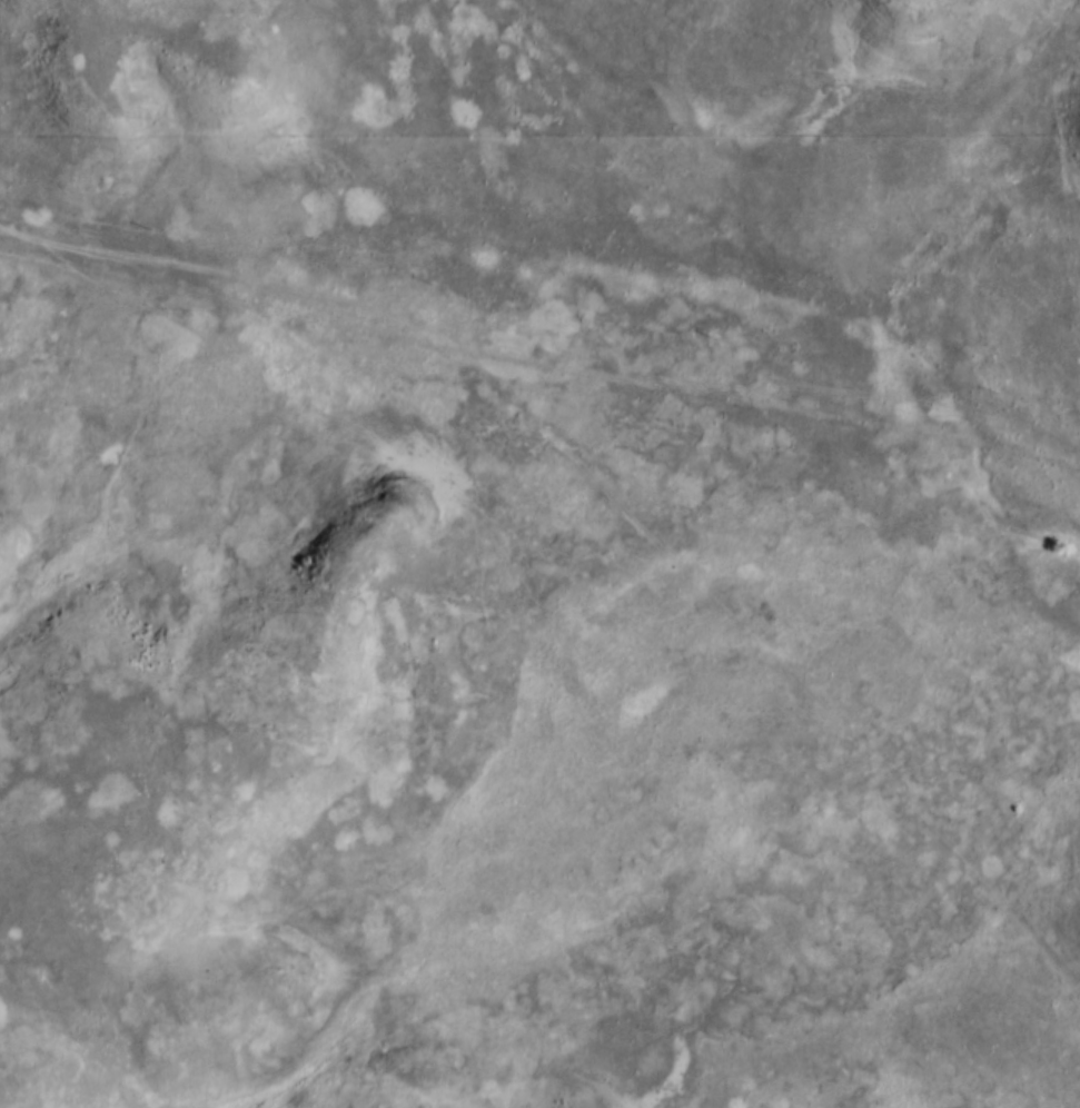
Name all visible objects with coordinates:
road: (604, 494)

